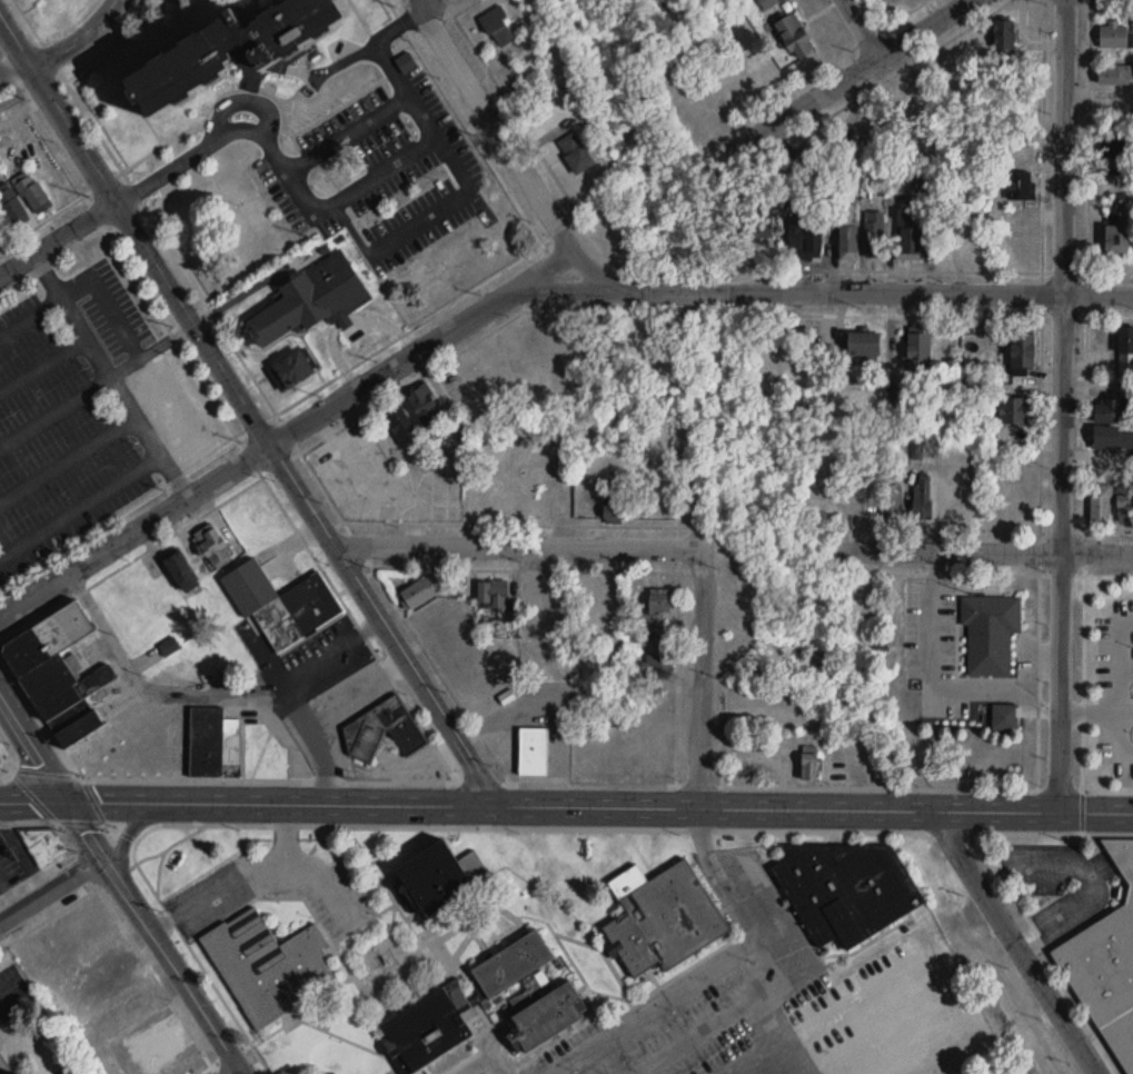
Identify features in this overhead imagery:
building: (767, 2)
building: (889, 3)
road: (435, 4)
road: (904, 12)
building: (497, 27)
road: (862, 28)
building: (1003, 34)
building: (1113, 34)
building: (793, 37)
road: (81, 38)
road: (374, 46)
building: (230, 49)
building: (406, 62)
road: (849, 73)
building: (1112, 73)
road: (22, 93)
road: (217, 125)
road: (347, 135)
building: (1107, 147)
road: (515, 149)
building: (575, 152)
road: (399, 160)
parking lot: (384, 171)
building: (1020, 185)
road: (446, 206)
building: (757, 227)
building: (1116, 228)
road: (135, 232)
building: (847, 232)
building: (874, 233)
building: (908, 235)
road: (58, 240)
building: (805, 240)
road: (833, 291)
building: (311, 300)
road: (29, 312)
building: (1125, 345)
building: (861, 346)
building: (564, 347)
road: (152, 348)
building: (1021, 350)
road: (430, 351)
building: (917, 351)
road: (42, 362)
building: (289, 370)
road: (112, 379)
building: (455, 388)
road: (1063, 405)
building: (424, 406)
road: (54, 409)
building: (1014, 410)
building: (1112, 411)
parking lot: (73, 412)
building: (399, 424)
building: (1112, 438)
road: (68, 460)
building: (819, 483)
building: (894, 500)
building: (1124, 504)
building: (613, 505)
building: (1100, 505)
road: (81, 506)
road: (139, 536)
building: (212, 547)
road: (519, 549)
road: (983, 550)
road: (1084, 551)
building: (180, 573)
building: (419, 593)
building: (491, 595)
building: (280, 605)
building: (533, 608)
building: (653, 610)
road: (389, 624)
building: (990, 633)
building: (638, 637)
building: (457, 643)
building: (169, 647)
road: (325, 656)
building: (52, 664)
building: (653, 666)
road: (933, 670)
road: (700, 678)
road: (1035, 683)
road: (1120, 686)
road: (355, 690)
road: (206, 693)
road: (1096, 709)
building: (1003, 717)
building: (78, 729)
building: (382, 730)
building: (531, 752)
building: (231, 755)
building: (808, 764)
road: (151, 777)
traffic signals: (63, 799)
road: (566, 804)
road: (131, 827)
road: (1027, 832)
building: (44, 845)
road: (1090, 875)
road: (251, 876)
building: (431, 877)
building: (844, 879)
road: (121, 881)
parking lot: (278, 885)
road: (48, 887)
building: (666, 908)
road: (127, 931)
road: (1015, 944)
building: (517, 953)
building: (268, 957)
road: (768, 959)
road: (813, 959)
building: (1107, 965)
road: (202, 967)
road: (704, 967)
road: (8, 988)
parking lot: (710, 993)
building: (550, 1006)
building: (429, 1022)
road: (703, 1035)
building: (157, 1046)
road: (476, 1057)
building: (4, 1065)
parking lot: (480, 1066)
road: (240, 1072)
road: (244, 1072)
building: (125, 1073)
building: (793, 1073)

